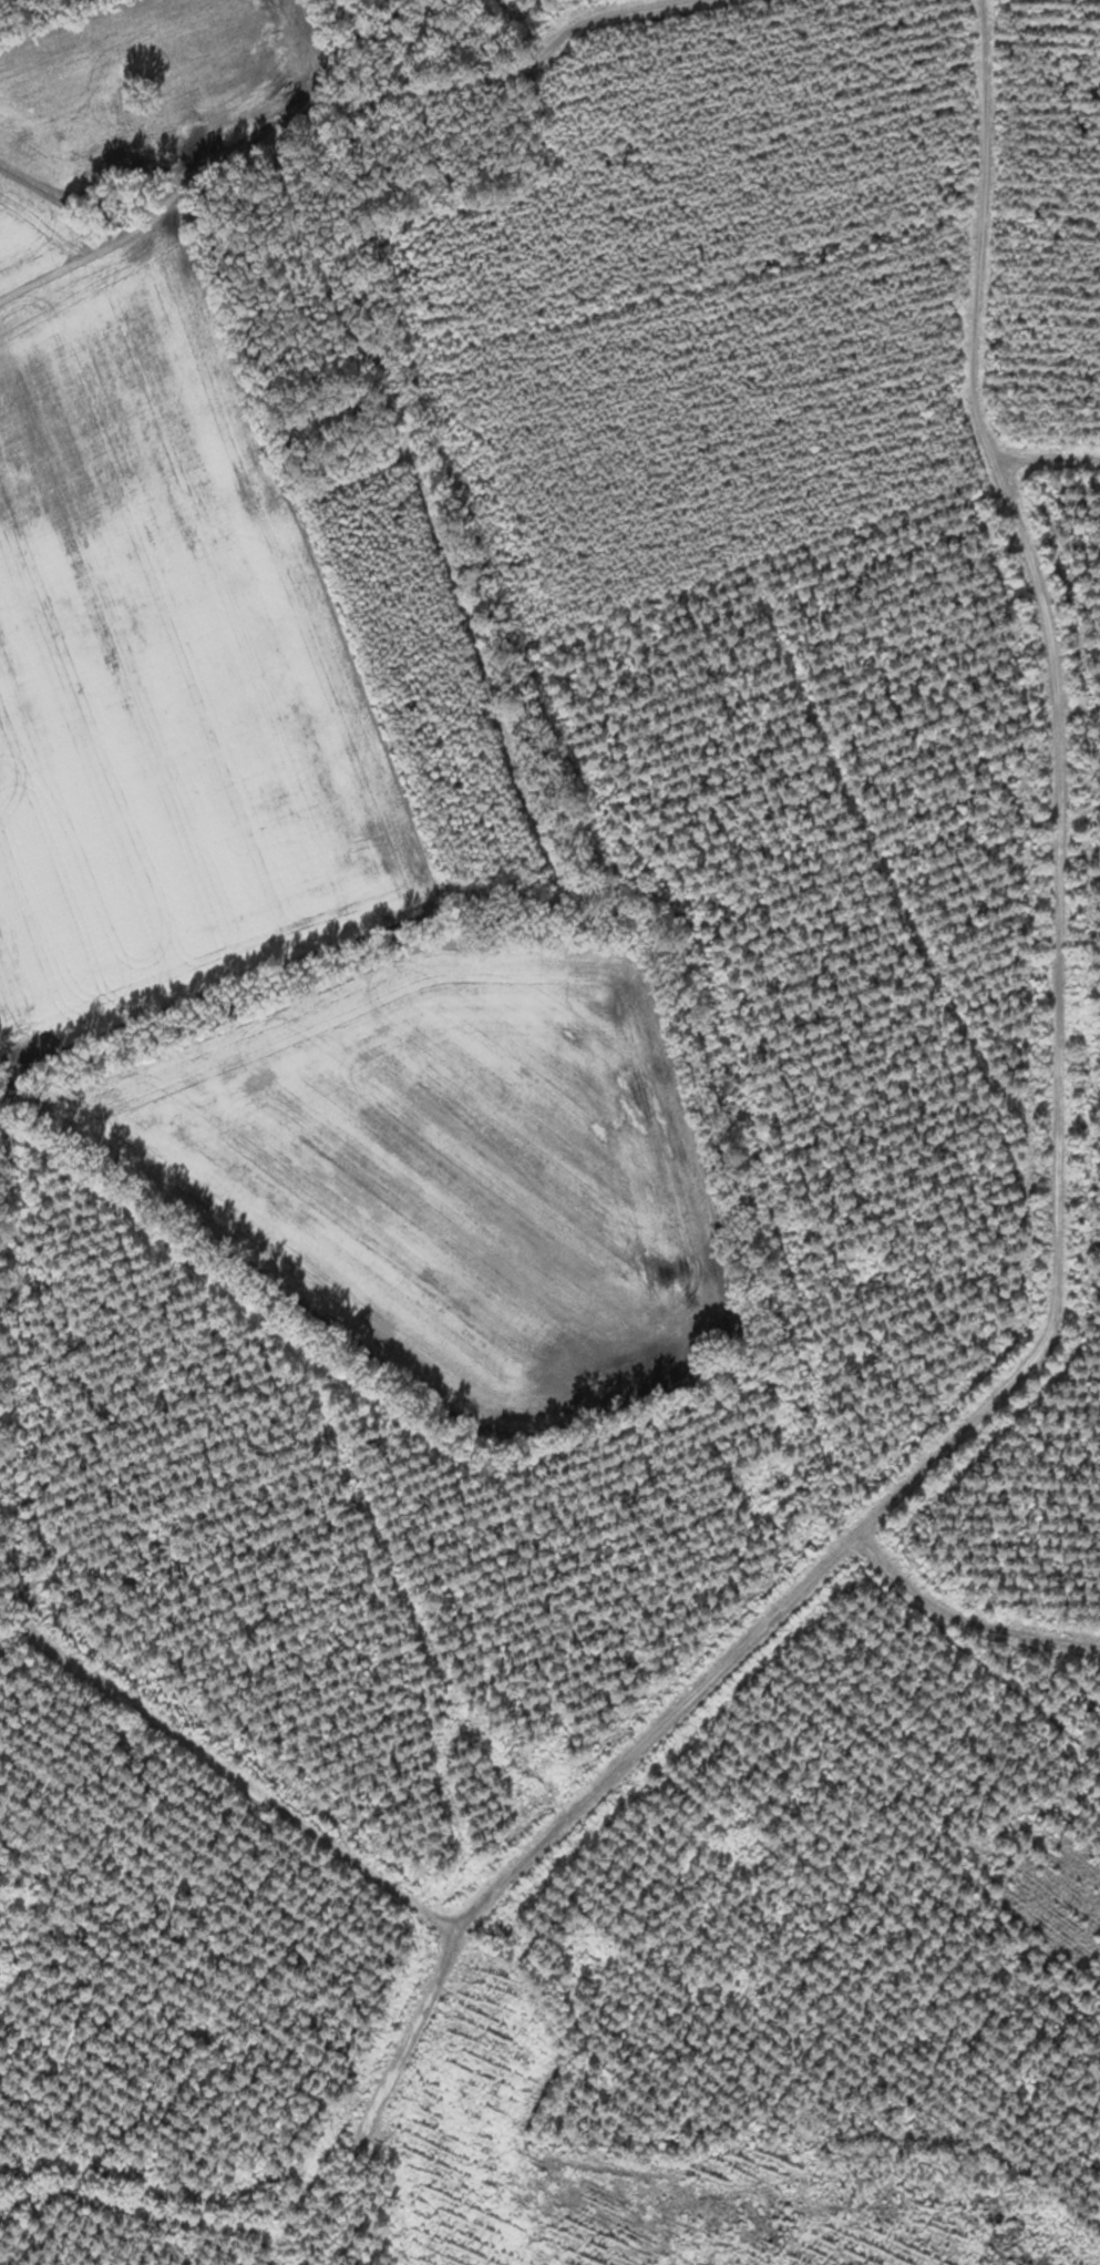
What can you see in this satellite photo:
road: (321, 103)
road: (1044, 1333)
road: (408, 2025)

